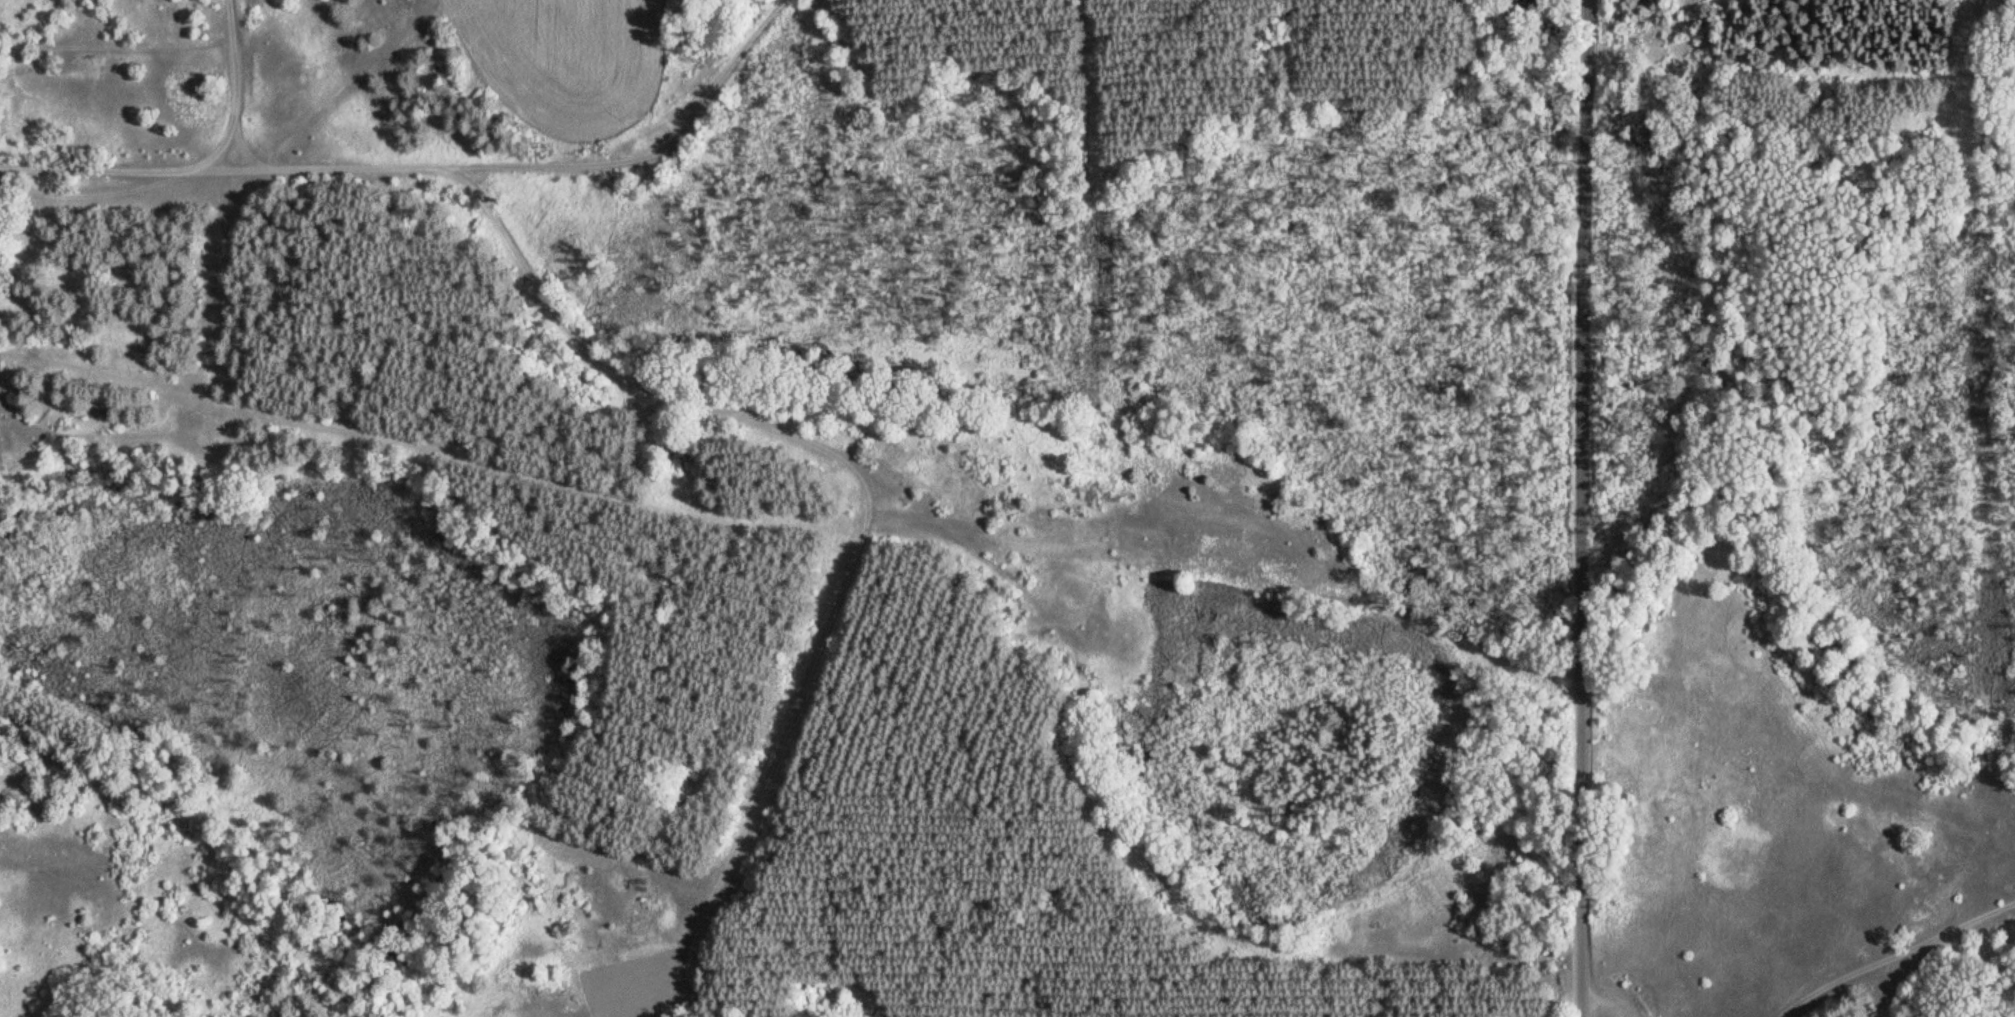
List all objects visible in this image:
road: (233, 107)
road: (704, 118)
road: (510, 163)
road: (80, 168)
road: (58, 438)
road: (1587, 508)
road: (1074, 653)

